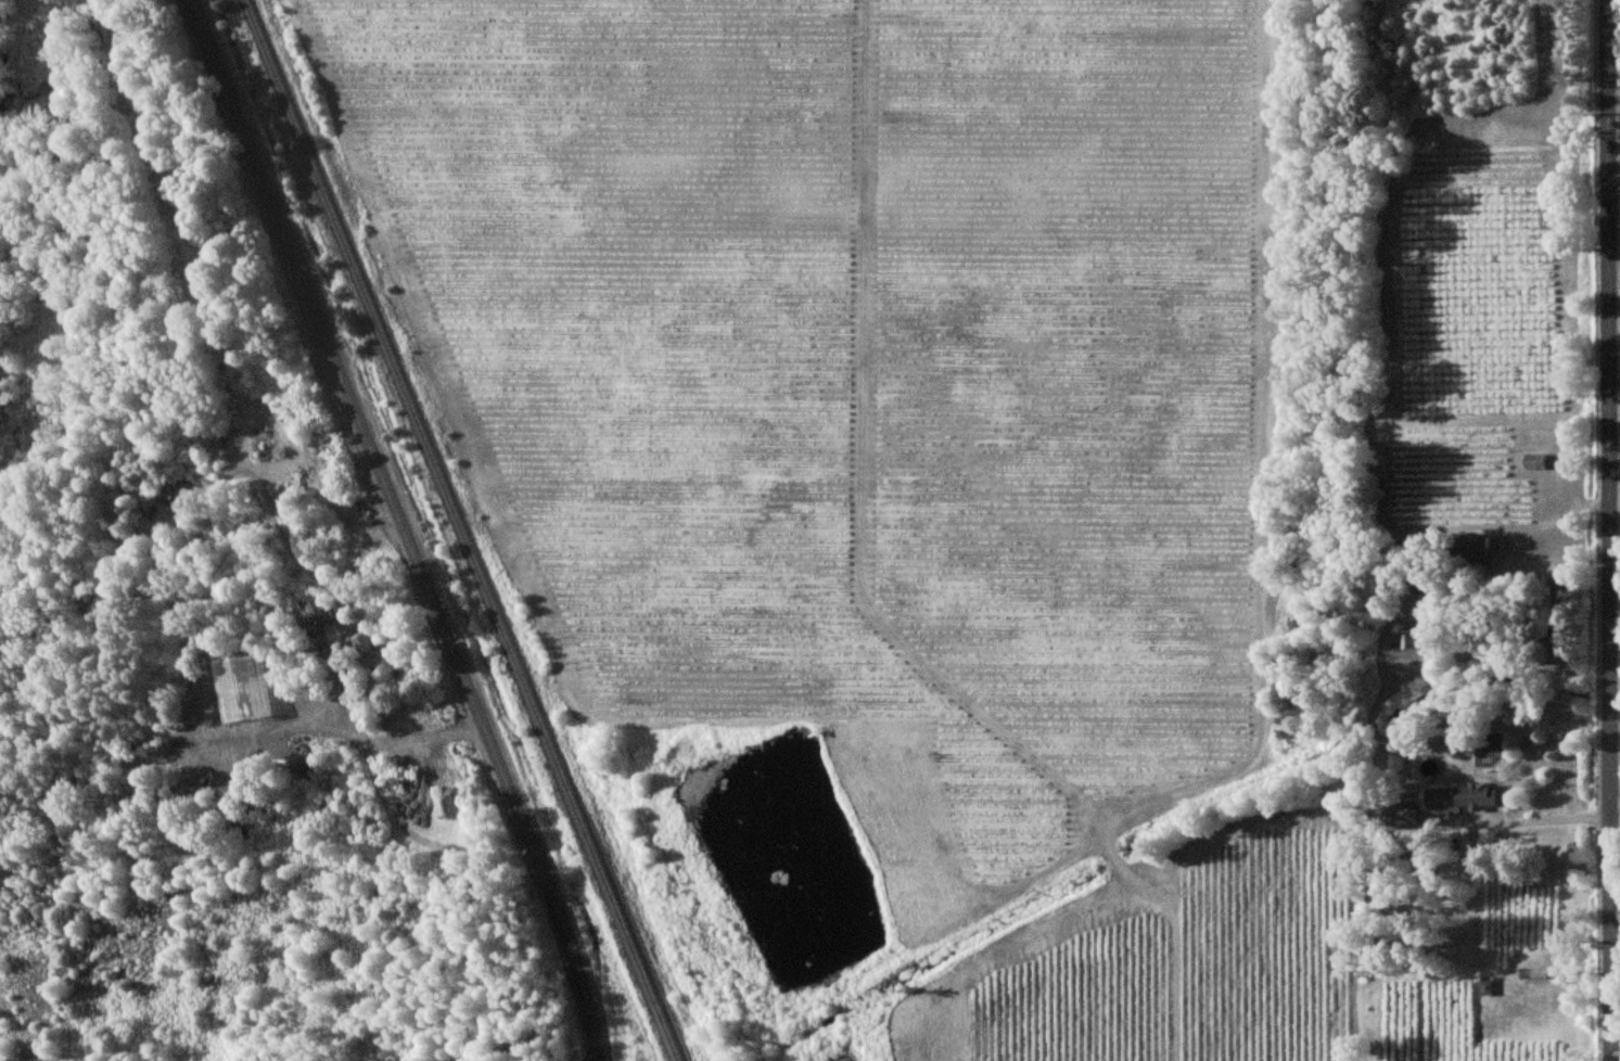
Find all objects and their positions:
road: (1613, 177)
building: (1531, 461)
road: (401, 526)
road: (1609, 529)
railway: (463, 530)
building: (1469, 546)
building: (320, 611)
building: (1406, 639)
building: (362, 645)
road: (424, 732)
road: (362, 736)
building: (1458, 797)
building: (1398, 815)
building: (1485, 987)

